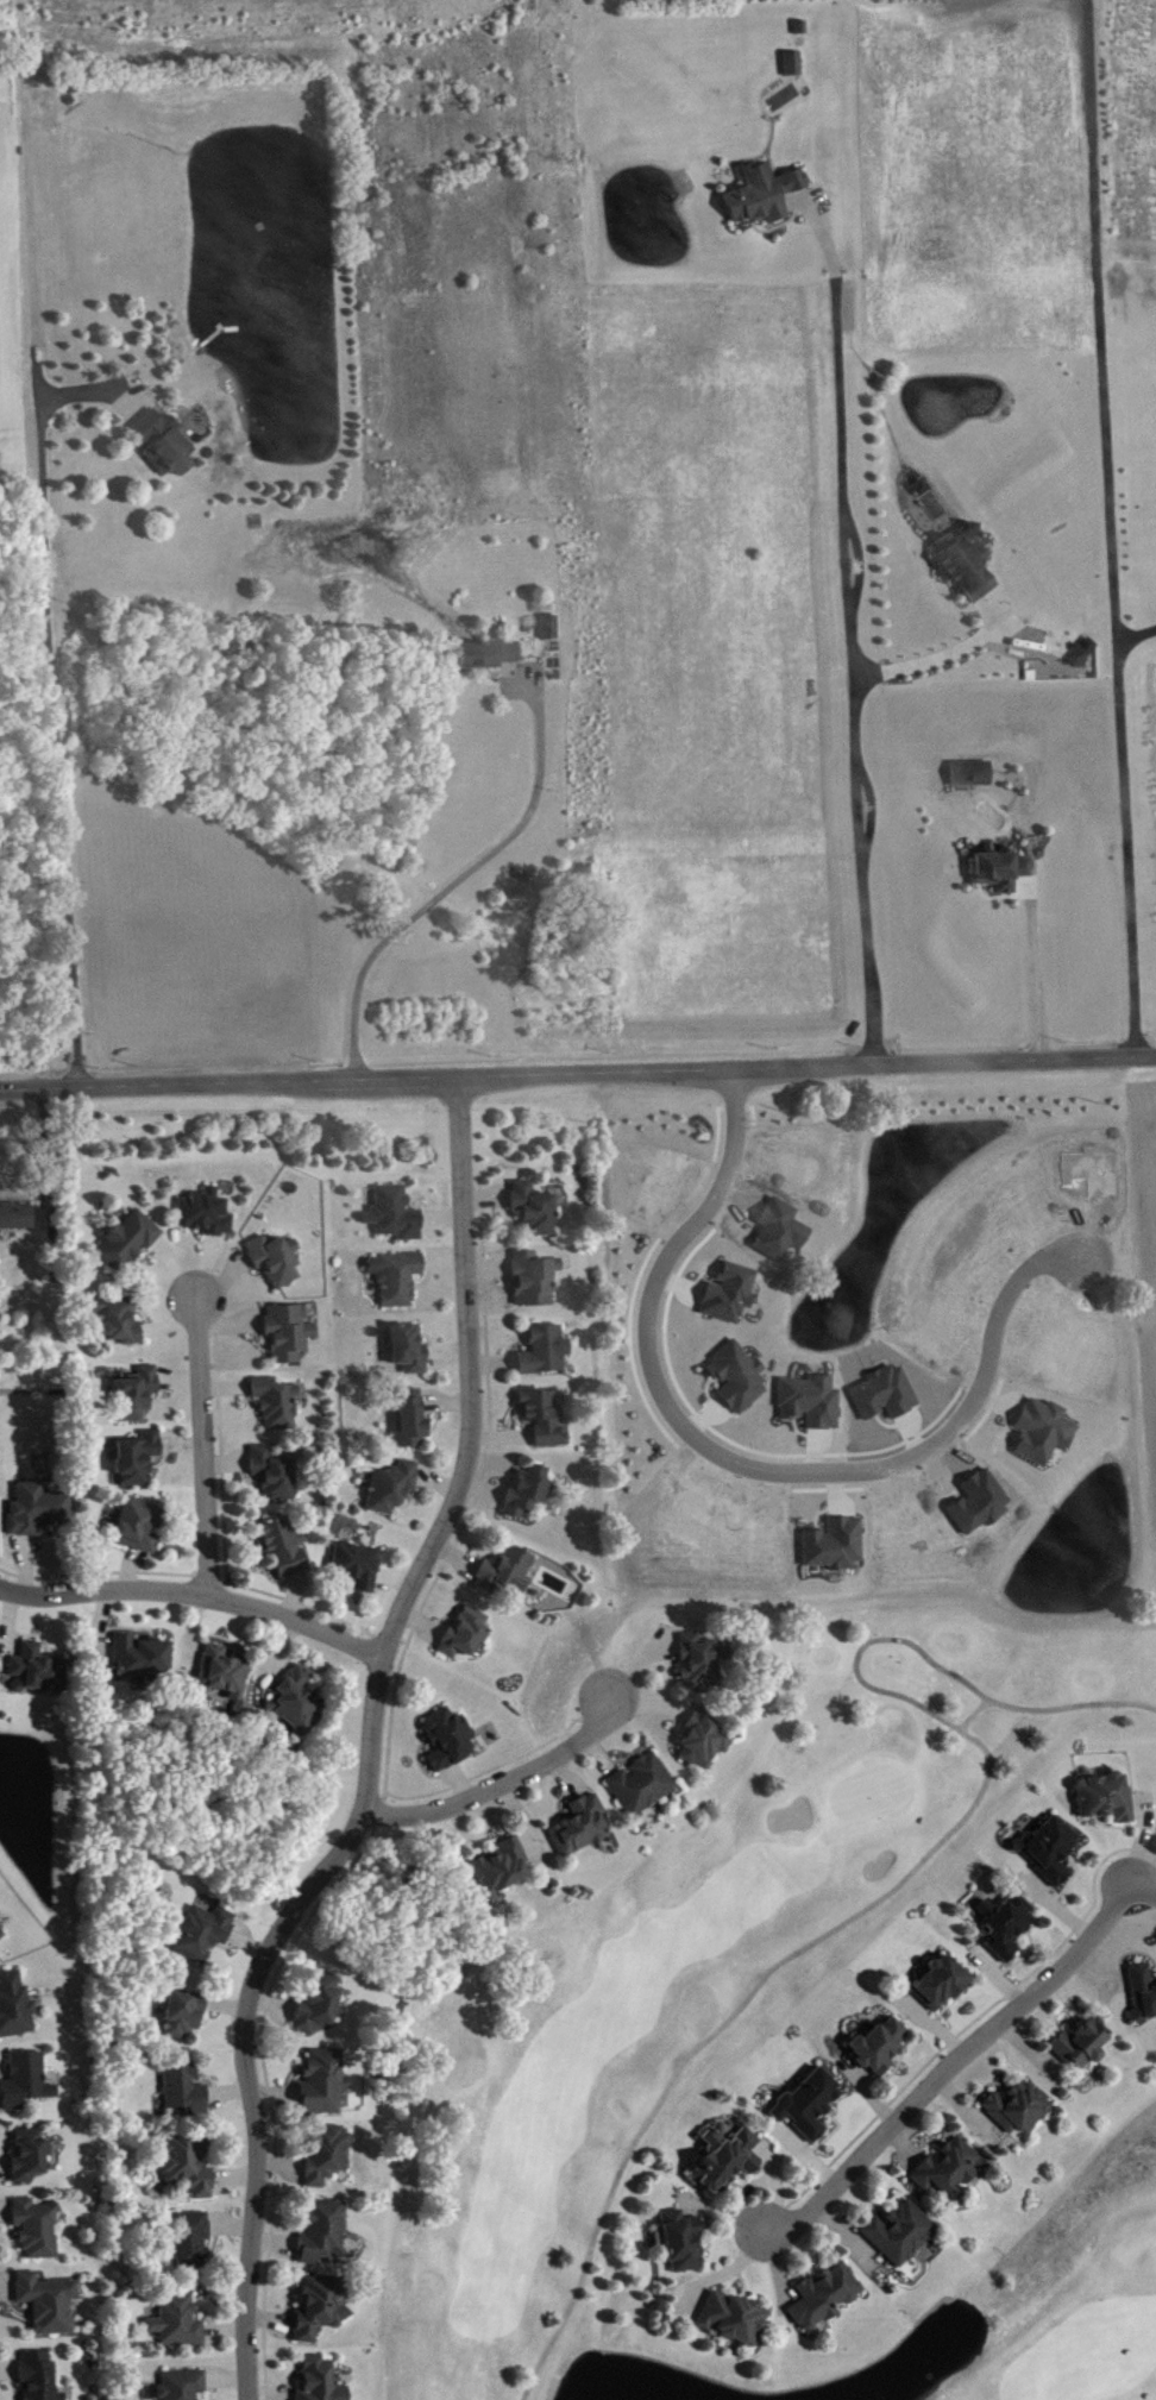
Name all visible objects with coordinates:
building: (798, 24)
building: (794, 64)
building: (760, 189)
road: (777, 222)
crop: (7, 290)
road: (94, 389)
building: (159, 440)
road: (122, 441)
road: (1111, 527)
building: (960, 561)
road: (947, 602)
building: (546, 623)
road: (848, 623)
road: (1137, 632)
building: (1078, 648)
building: (484, 651)
road: (942, 652)
building: (1083, 653)
road: (54, 716)
building: (967, 769)
building: (995, 866)
road: (460, 877)
road: (998, 894)
road: (1034, 968)
road: (577, 1070)
road: (48, 1149)
building: (535, 1210)
building: (14, 1212)
building: (207, 1213)
building: (396, 1214)
building: (130, 1240)
crop: (1145, 1248)
building: (277, 1259)
street lamp: (1117, 1267)
building: (398, 1277)
building: (536, 1278)
building: (730, 1293)
building: (120, 1319)
building: (290, 1332)
building: (409, 1351)
building: (546, 1351)
building: (739, 1377)
building: (137, 1395)
building: (811, 1402)
building: (278, 1403)
building: (545, 1418)
building: (413, 1420)
building: (1044, 1432)
road: (201, 1445)
building: (139, 1459)
road: (741, 1462)
building: (276, 1475)
building: (394, 1488)
building: (528, 1491)
building: (38, 1509)
building: (140, 1526)
building: (836, 1545)
building: (285, 1546)
building: (358, 1566)
building: (508, 1572)
road: (195, 1592)
building: (467, 1634)
building: (143, 1657)
building: (702, 1665)
building: (39, 1671)
building: (226, 1672)
building: (299, 1700)
road: (974, 1710)
building: (448, 1740)
building: (705, 1741)
road: (370, 1745)
road: (502, 1780)
building: (642, 1785)
building: (1106, 1798)
building: (583, 1827)
building: (1050, 1849)
building: (501, 1868)
road: (907, 1880)
road: (1144, 1890)
building: (1004, 1924)
building: (205, 1933)
building: (1, 1935)
park: (704, 1967)
building: (941, 1984)
building: (1143, 1992)
building: (320, 2005)
building: (15, 2006)
building: (184, 2013)
building: (879, 2047)
building: (1082, 2047)
road: (951, 2061)
building: (27, 2081)
building: (325, 2082)
building: (184, 2088)
building: (809, 2105)
building: (1018, 2109)
building: (328, 2154)
building: (31, 2155)
building: (727, 2157)
building: (189, 2165)
building: (949, 2167)
building: (37, 2229)
building: (323, 2232)
building: (900, 2233)
building: (193, 2242)
building: (683, 2243)
park: (1055, 2292)
building: (825, 2297)
building: (49, 2302)
building: (320, 2308)
building: (734, 2318)
building: (180, 2323)
building: (40, 2376)
building: (321, 2381)
building: (184, 2386)

